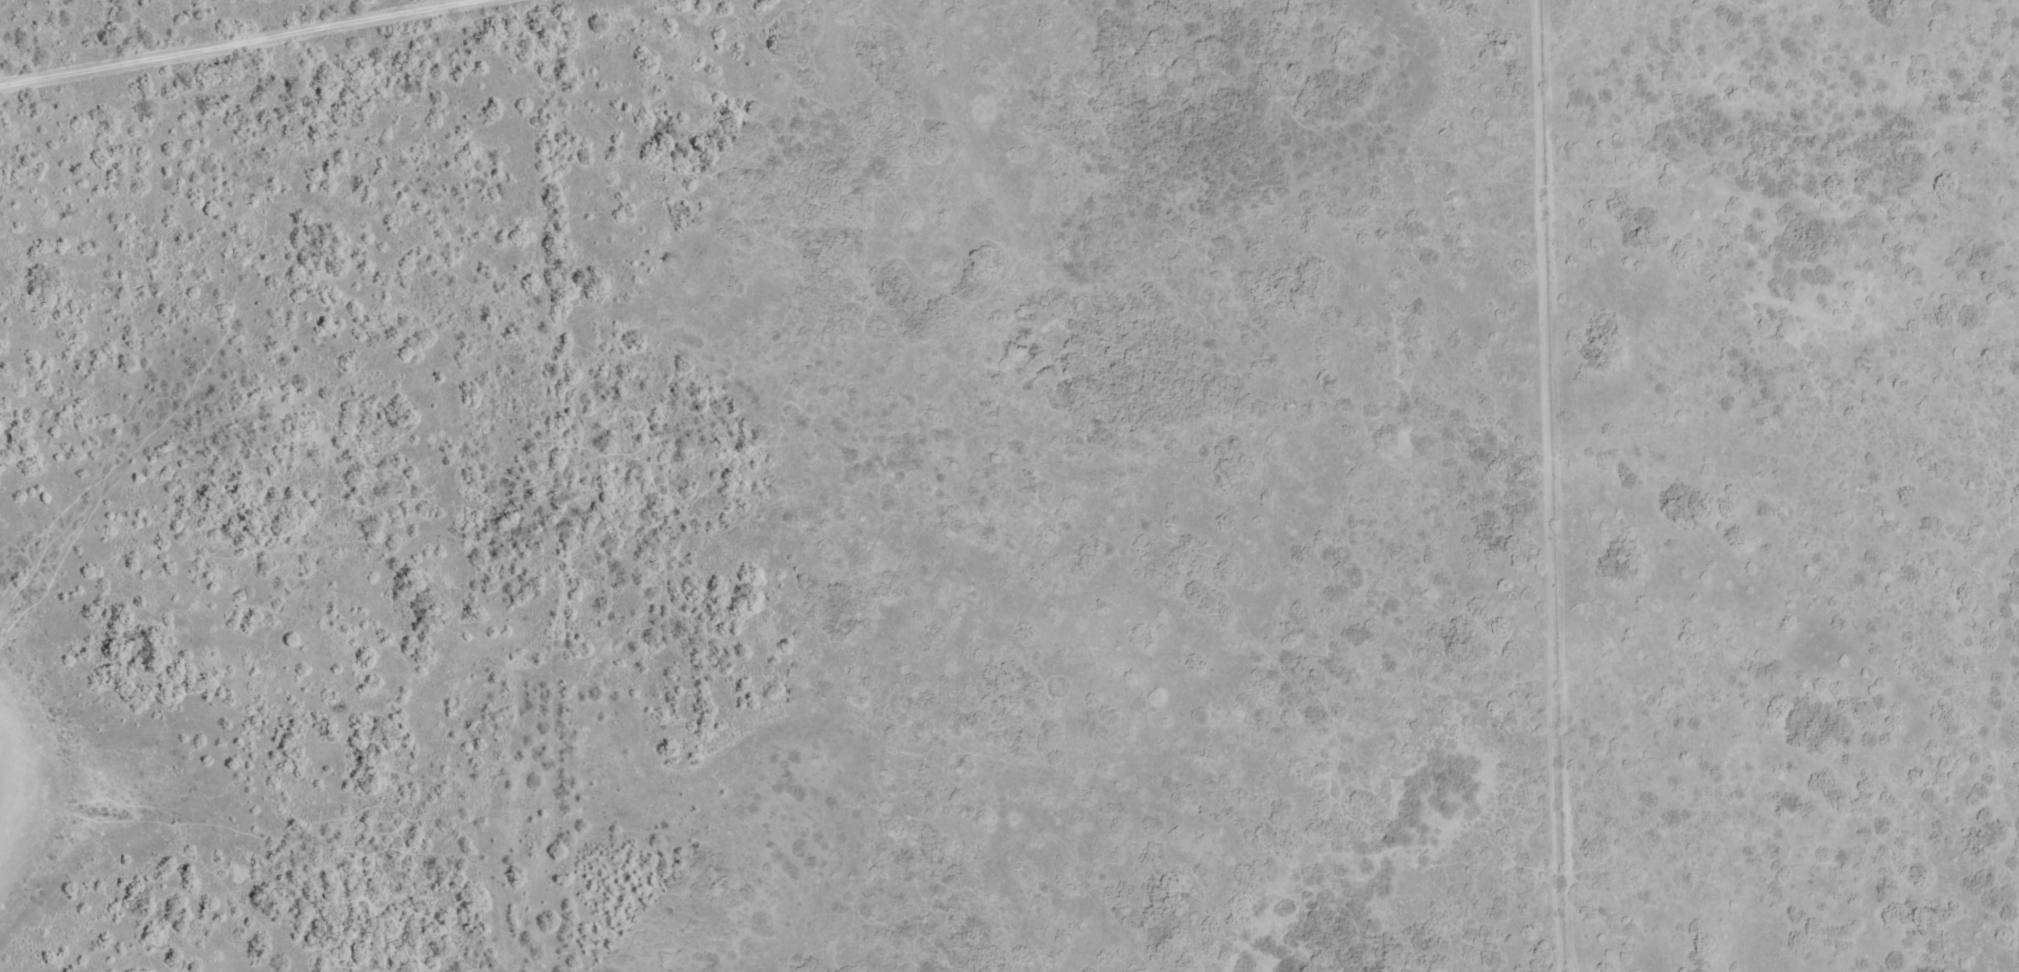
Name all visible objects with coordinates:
road: (257, 59)

